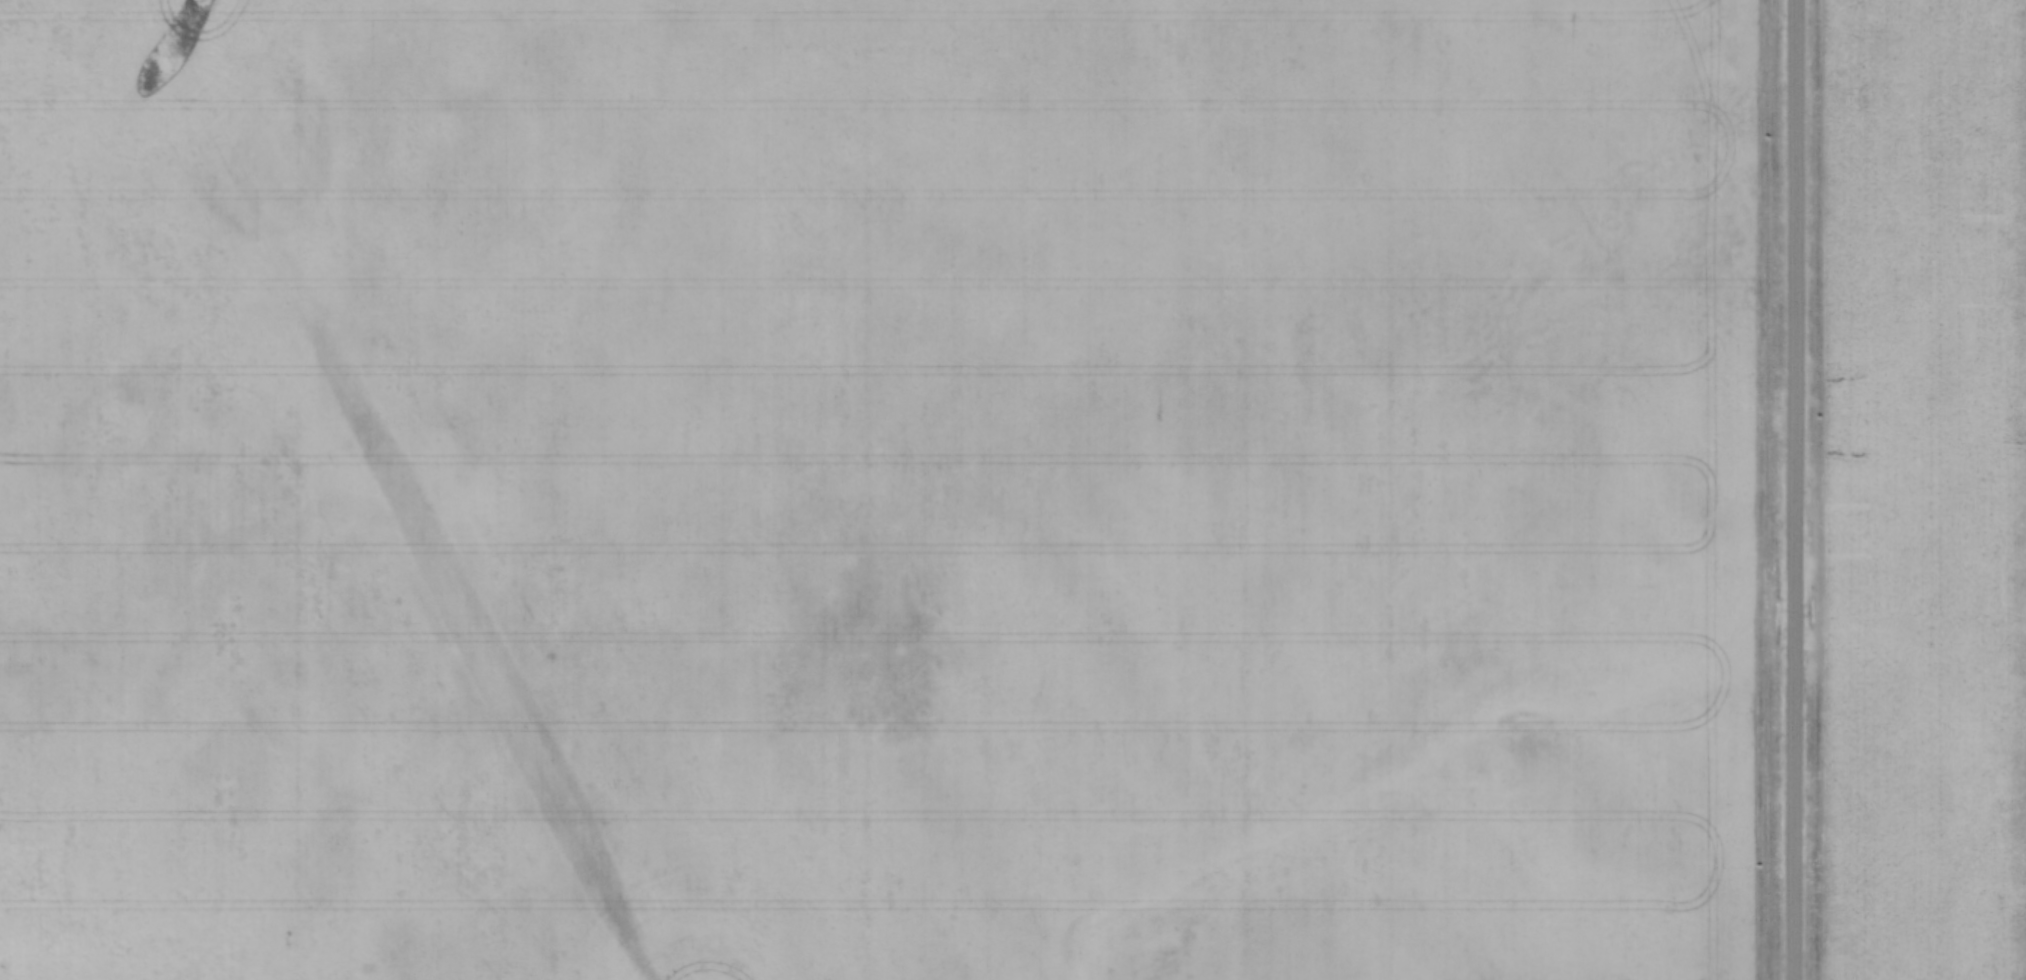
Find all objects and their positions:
road: (1800, 490)

